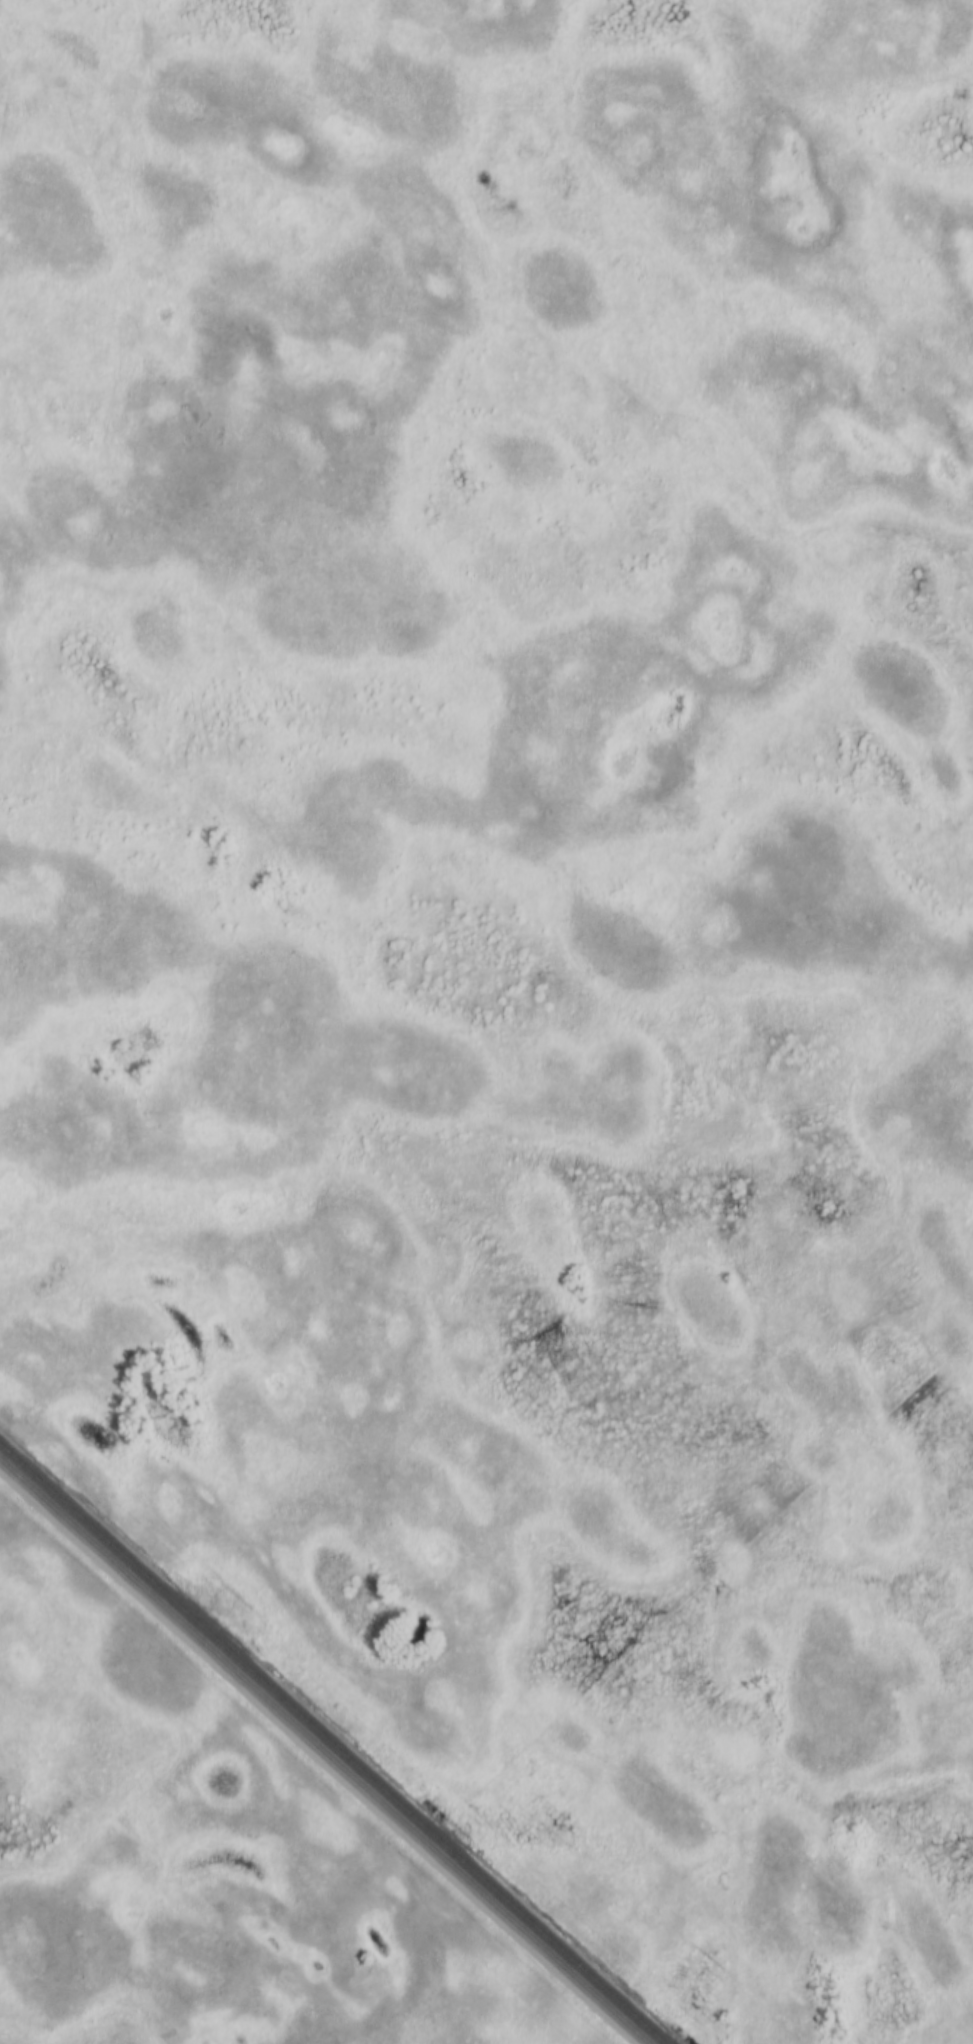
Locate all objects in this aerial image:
railway: (331, 1745)
railway: (324, 1752)

